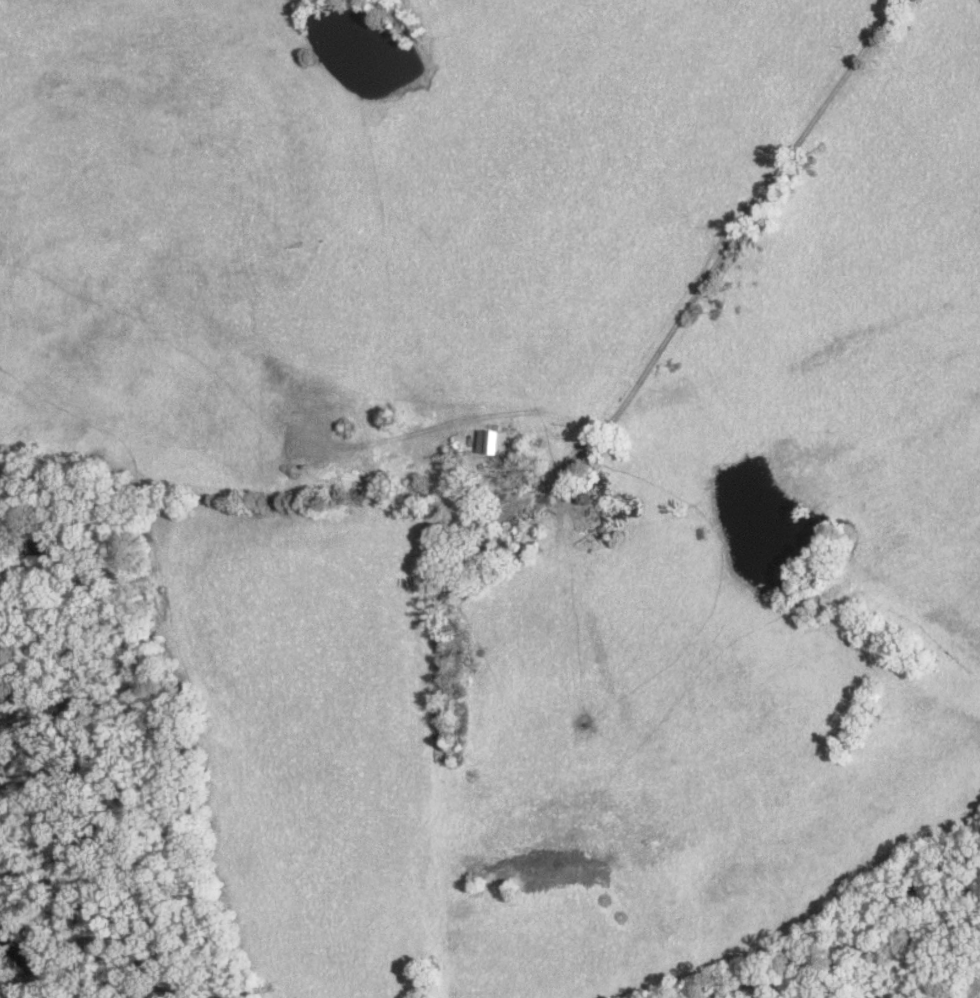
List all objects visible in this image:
building: (525, 505)
building: (589, 511)

